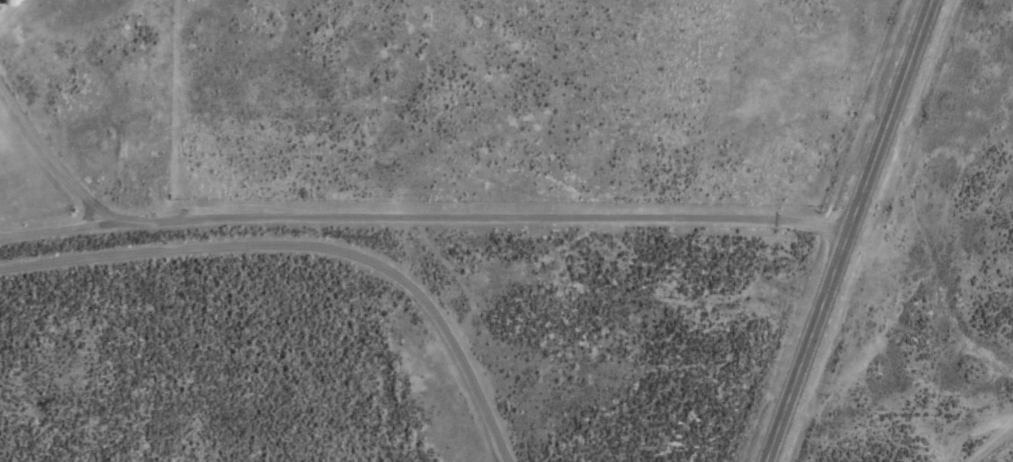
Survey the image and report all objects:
crop: (529, 221)
road: (855, 230)
road: (994, 442)

